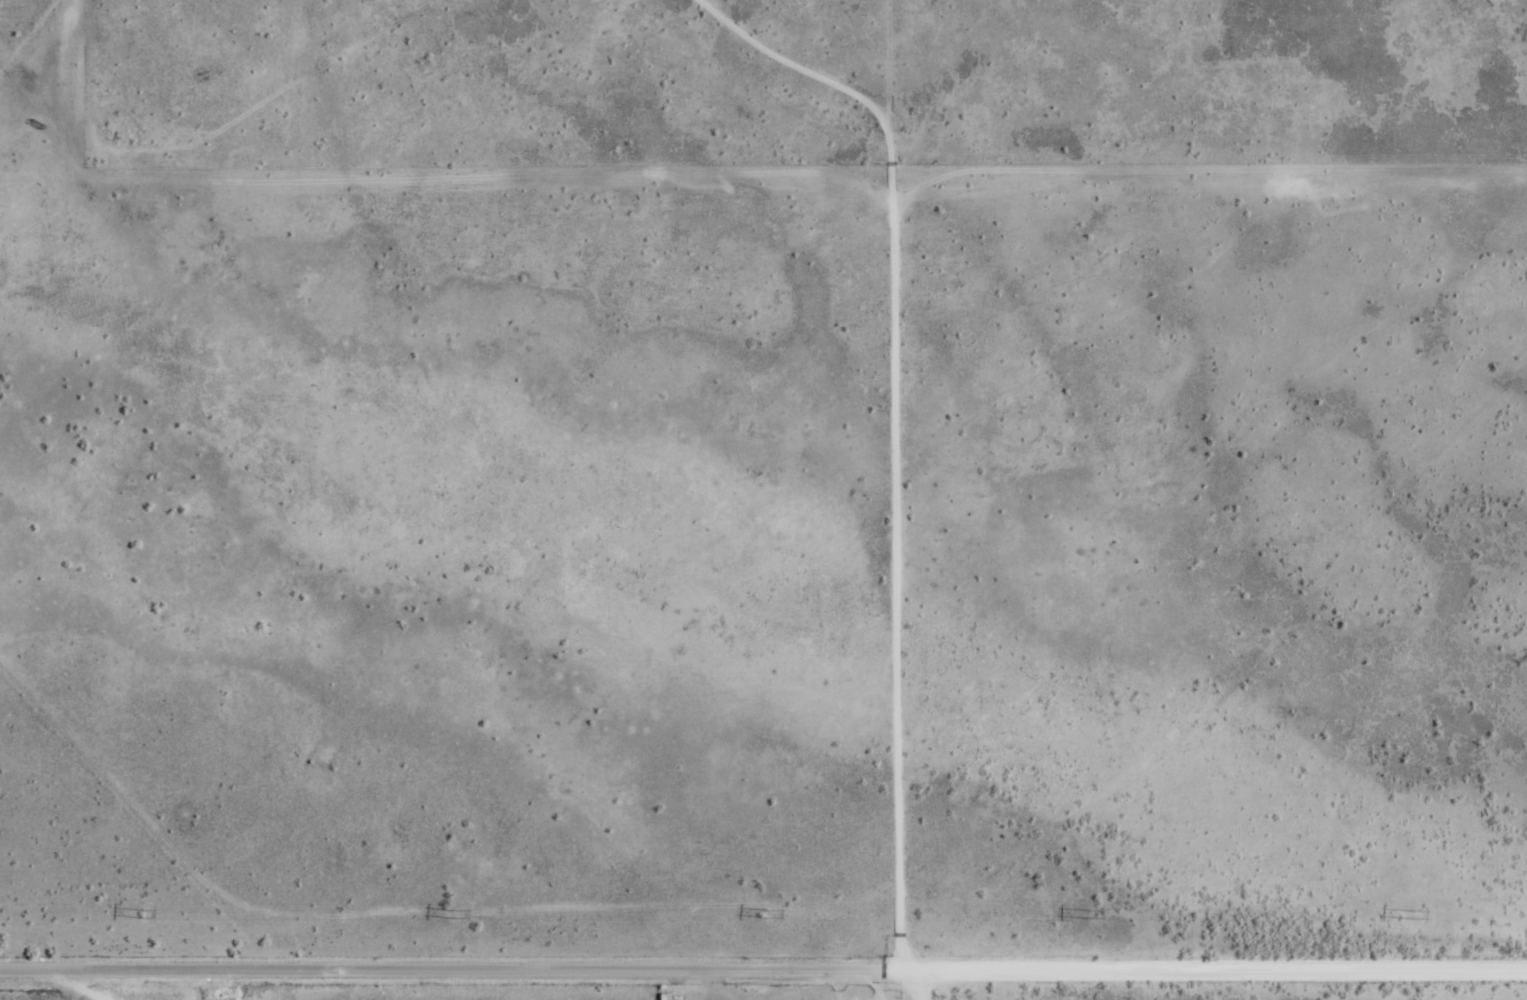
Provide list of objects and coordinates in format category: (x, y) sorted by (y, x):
road: (897, 440)
power tower: (769, 913)
power tower: (142, 914)
power tower: (455, 914)
power tower: (1091, 914)
power tower: (1414, 914)
road: (763, 972)
road: (922, 986)

